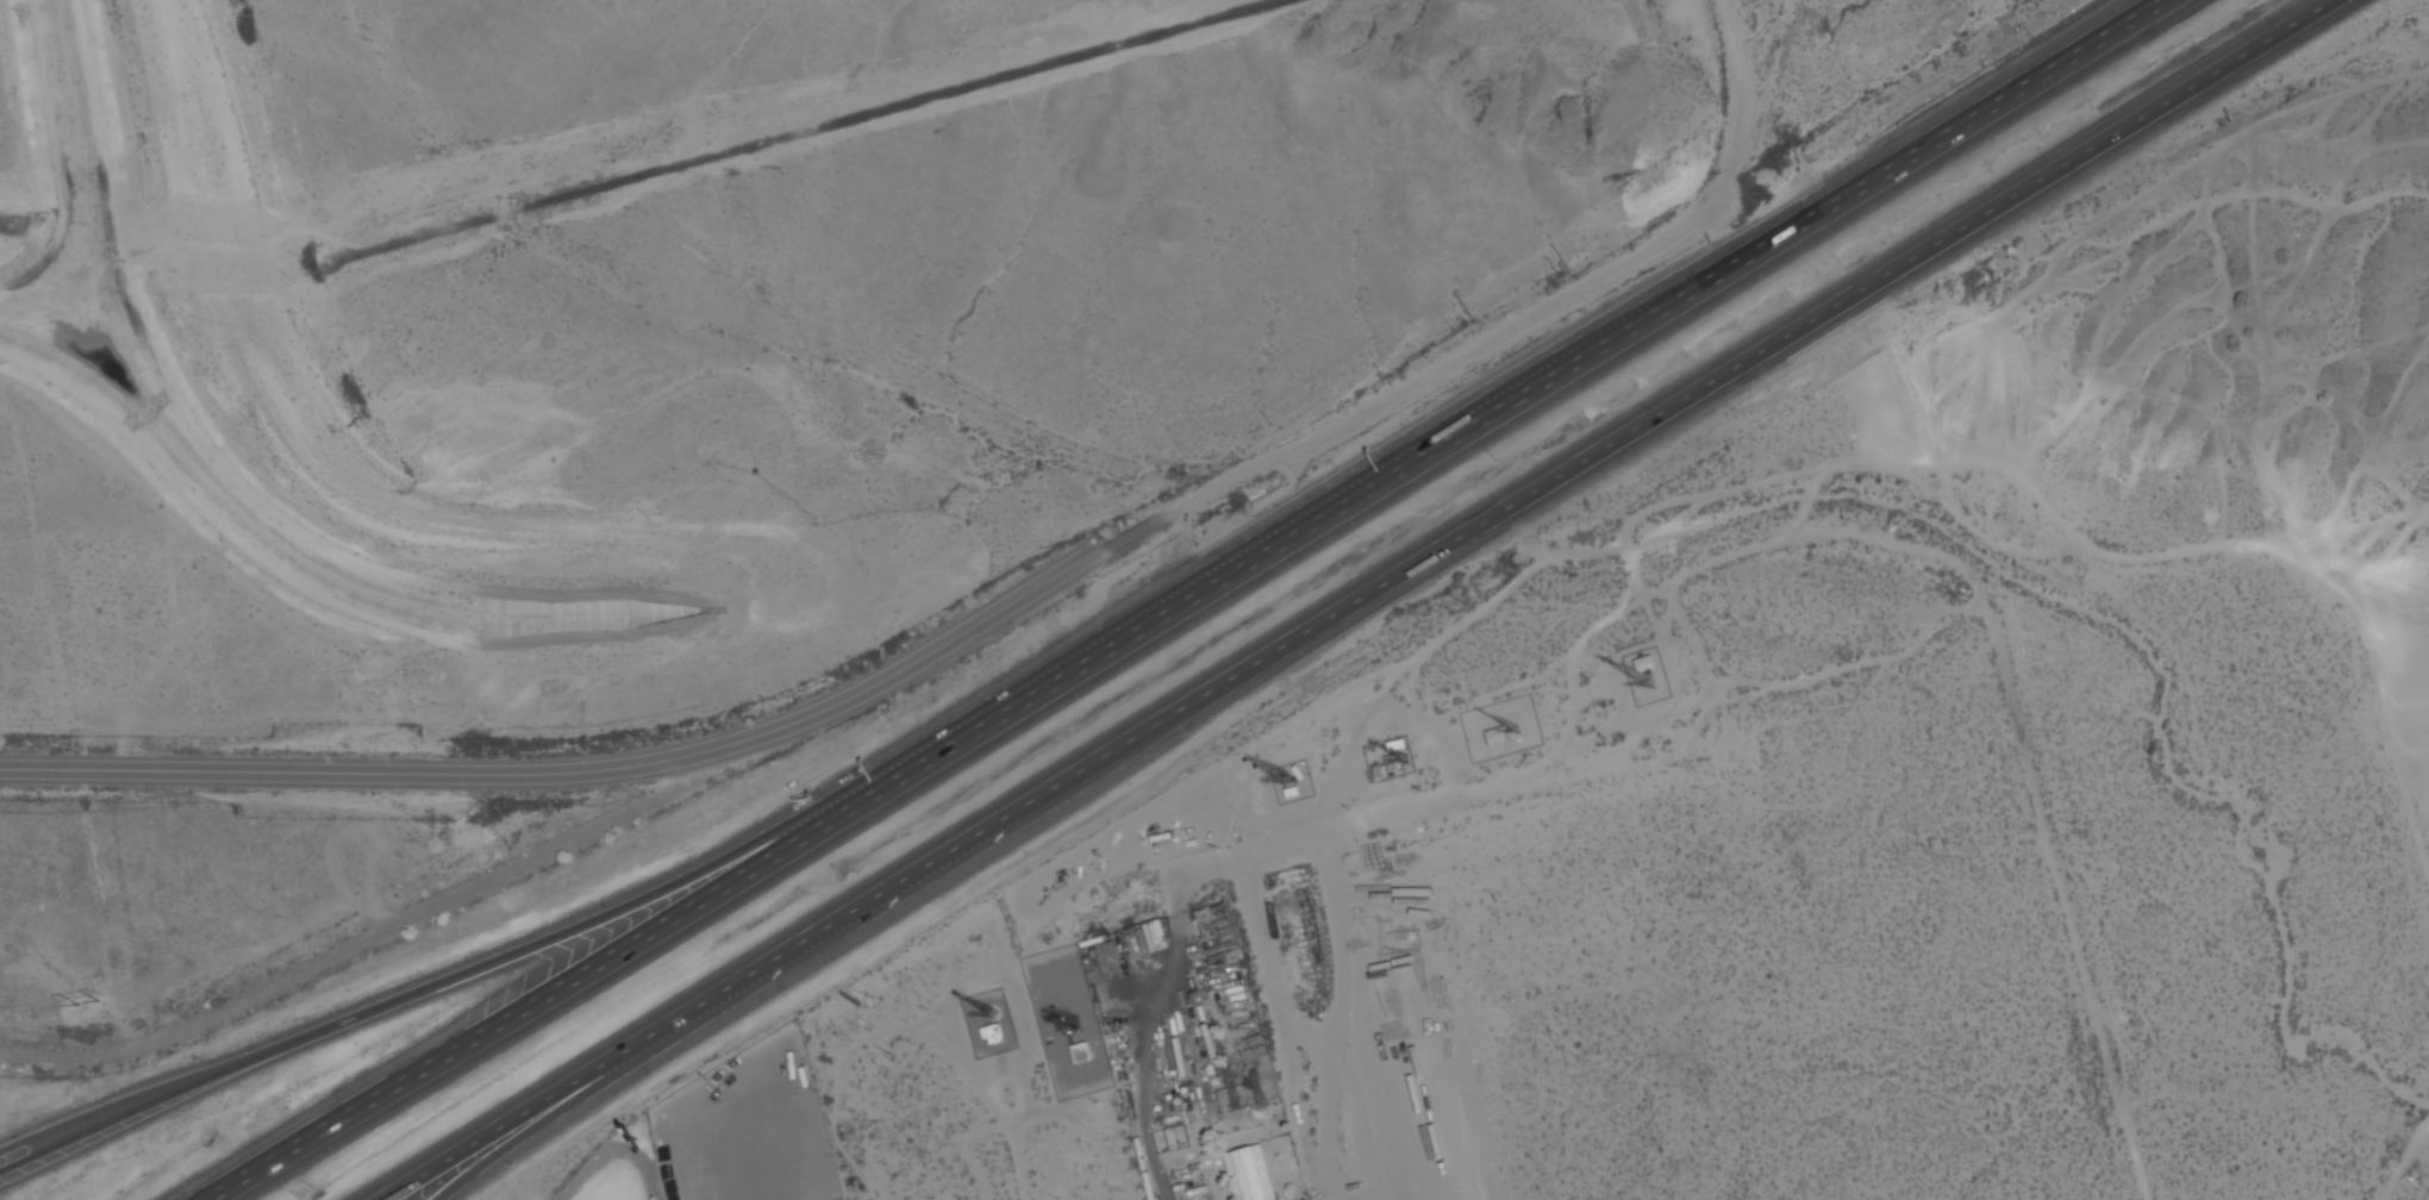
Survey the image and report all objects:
road: (795, 130)
road: (1868, 179)
road: (1503, 327)
road: (1715, 383)
road: (1228, 573)
street lamp: (1149, 580)
street lamp: (1038, 649)
street lamp: (1312, 660)
street lamp: (925, 719)
street lamp: (1156, 763)
road: (579, 775)
street lamp: (813, 787)
road: (1295, 825)
street lamp: (698, 854)
street lamp: (998, 861)
road: (878, 898)
street lamp: (549, 919)
road: (524, 951)
street lamp: (837, 960)
parking lot: (404, 964)
street lamp: (418, 974)
street lamp: (516, 974)
road: (541, 994)
road: (1157, 1011)
power tower: (90, 1012)
street lamp: (266, 1032)
building: (993, 1035)
building: (1082, 1054)
street lamp: (675, 1062)
street lamp: (354, 1076)
street lamp: (75, 1104)
road: (550, 1113)
road: (524, 1114)
road: (98, 1123)
building: (1170, 1133)
road: (17, 1160)
street lamp: (513, 1164)
building: (1250, 1174)
street lamp: (189, 1175)

